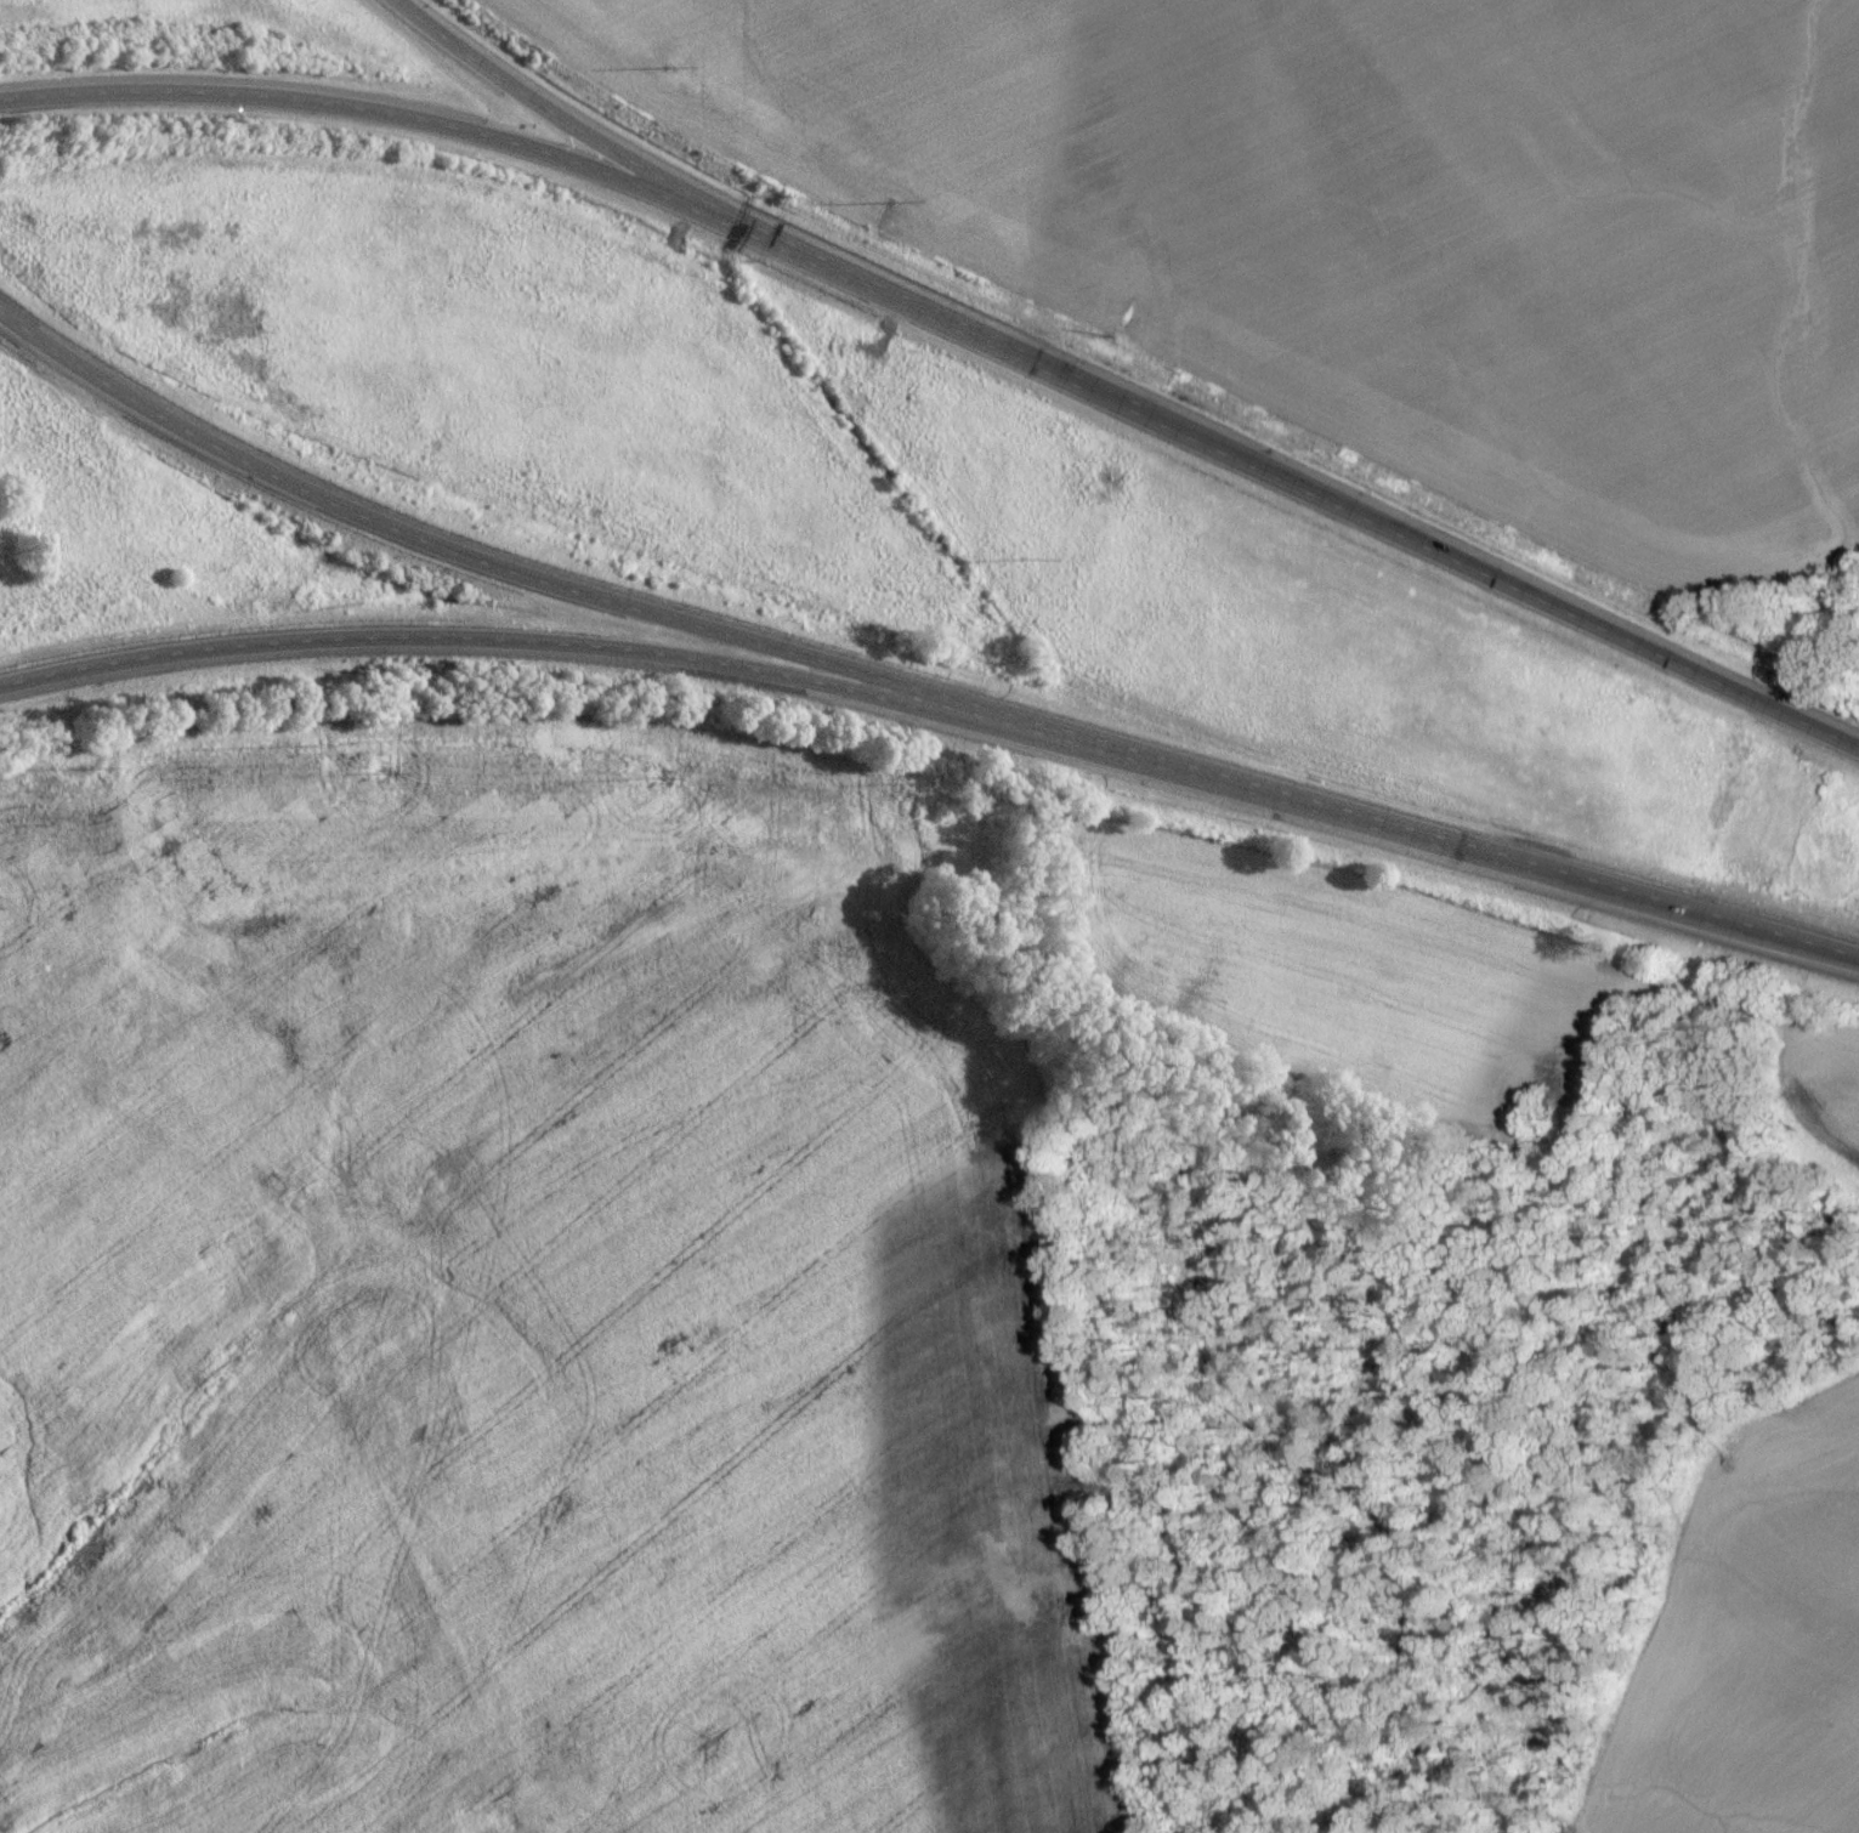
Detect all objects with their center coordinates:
road: (531, 108)
road: (347, 115)
road: (1271, 477)
road: (458, 564)
road: (478, 647)
road: (1407, 840)

